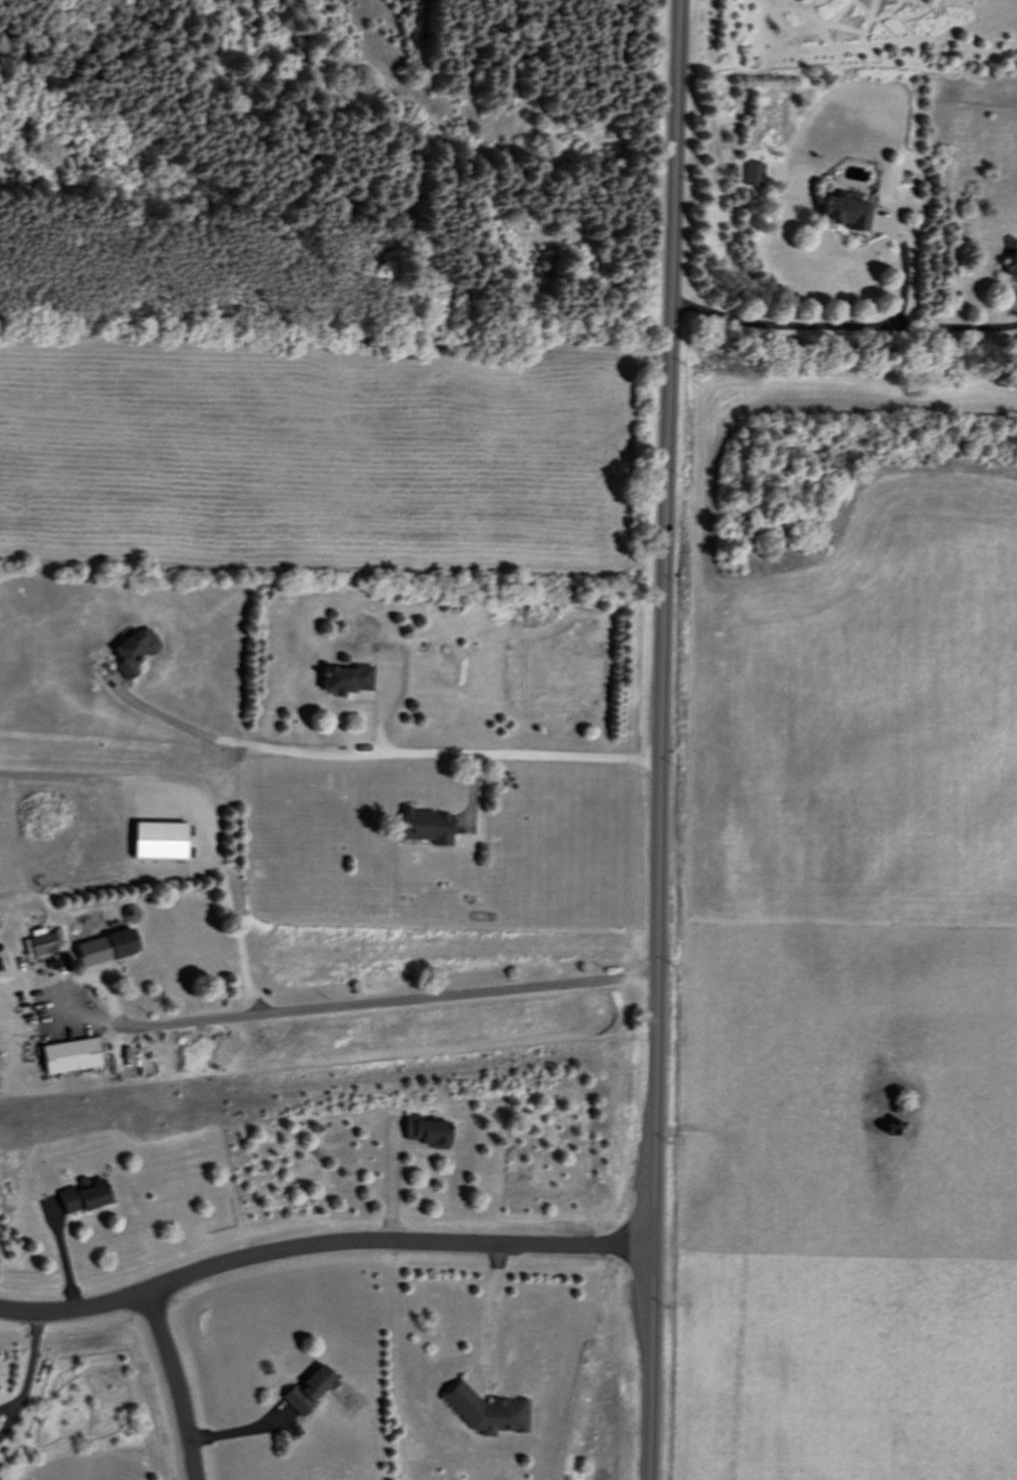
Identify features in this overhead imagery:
building: (753, 173)
building: (846, 211)
building: (1012, 265)
road: (904, 272)
building: (1016, 283)
building: (1016, 284)
road: (843, 326)
building: (134, 650)
building: (347, 679)
road: (162, 716)
road: (661, 739)
road: (437, 753)
road: (205, 803)
building: (426, 826)
building: (160, 840)
crop: (846, 931)
building: (42, 944)
building: (106, 947)
road: (388, 999)
building: (70, 1055)
building: (427, 1131)
building: (83, 1195)
road: (322, 1246)
road: (487, 1314)
road: (28, 1367)
road: (176, 1385)
building: (309, 1390)
building: (486, 1411)
road: (239, 1432)

